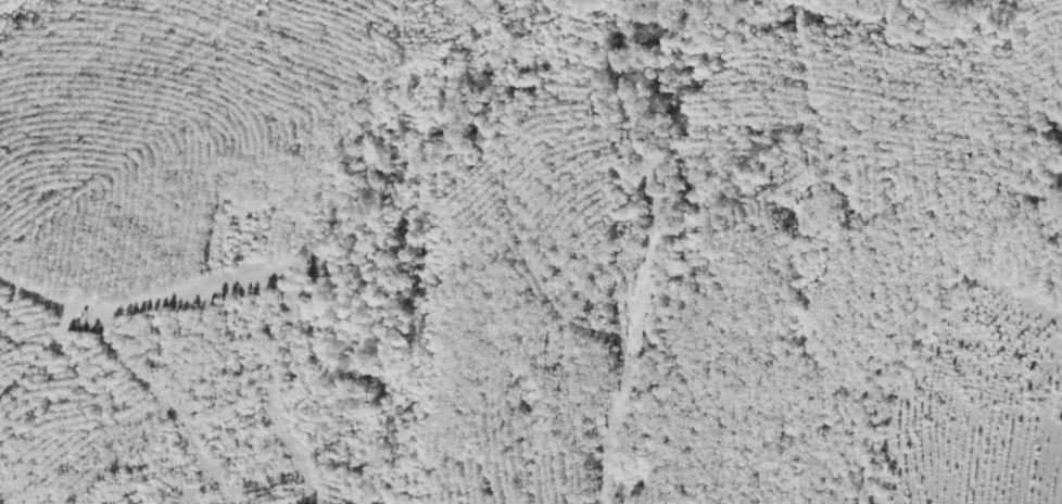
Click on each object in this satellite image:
road: (813, 241)

